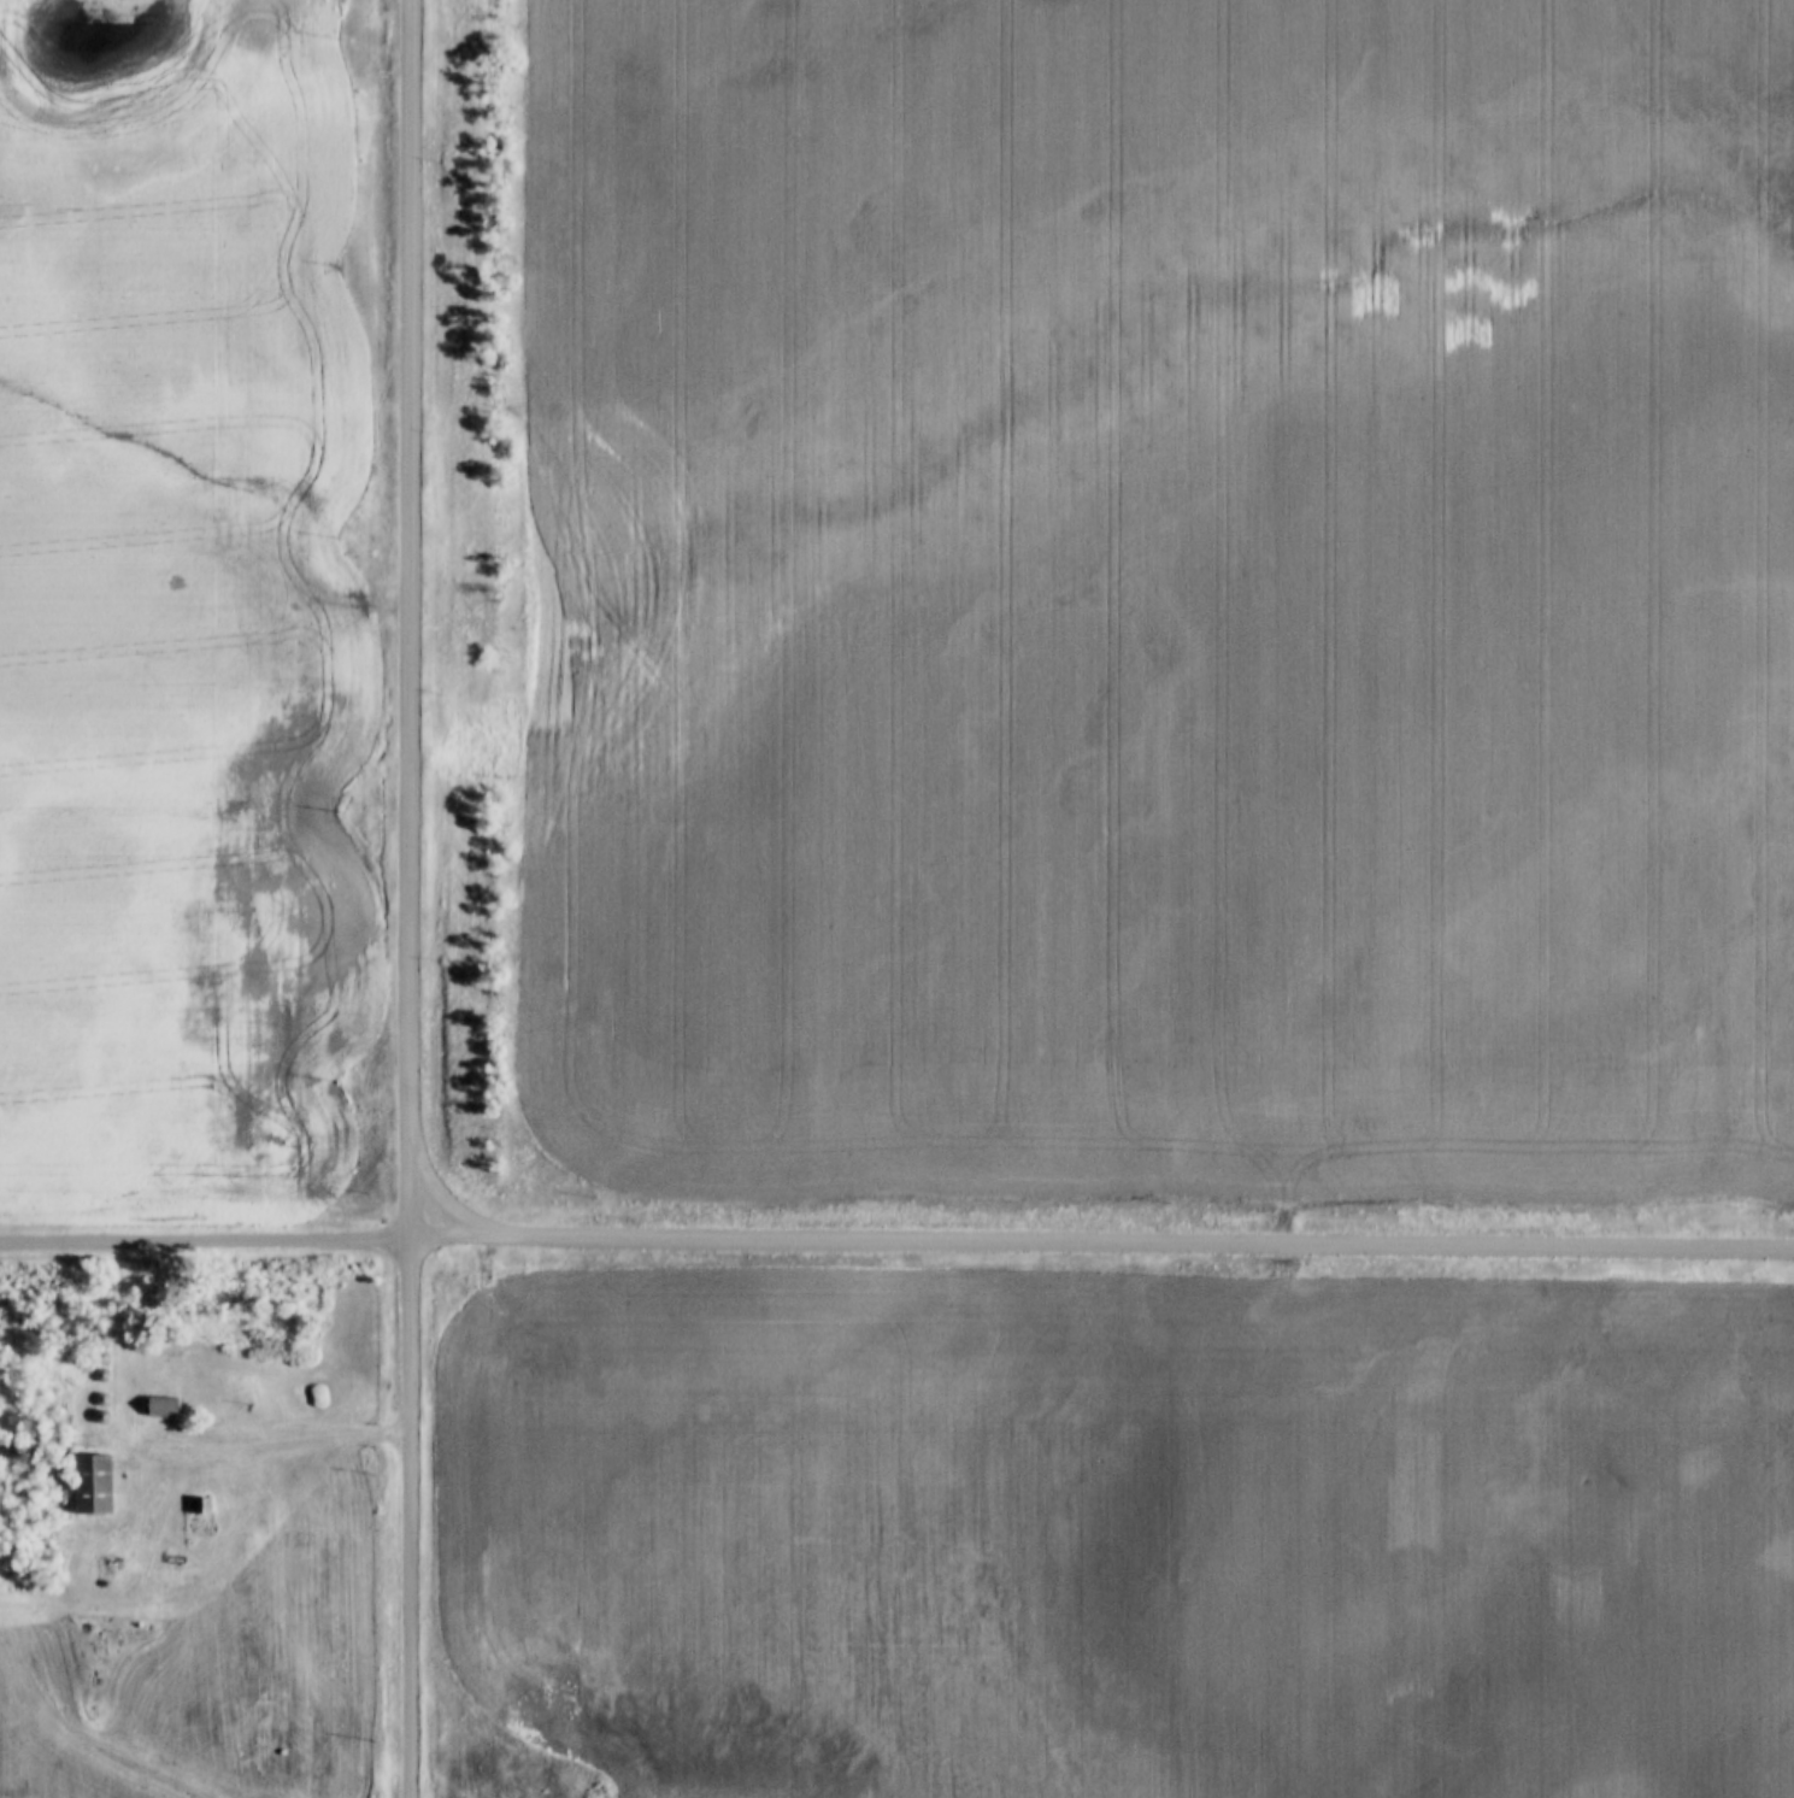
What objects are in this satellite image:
road: (411, 898)
road: (447, 1201)
road: (205, 1240)
road: (1101, 1242)
building: (163, 1406)
road: (263, 1447)
building: (93, 1483)
building: (202, 1505)

